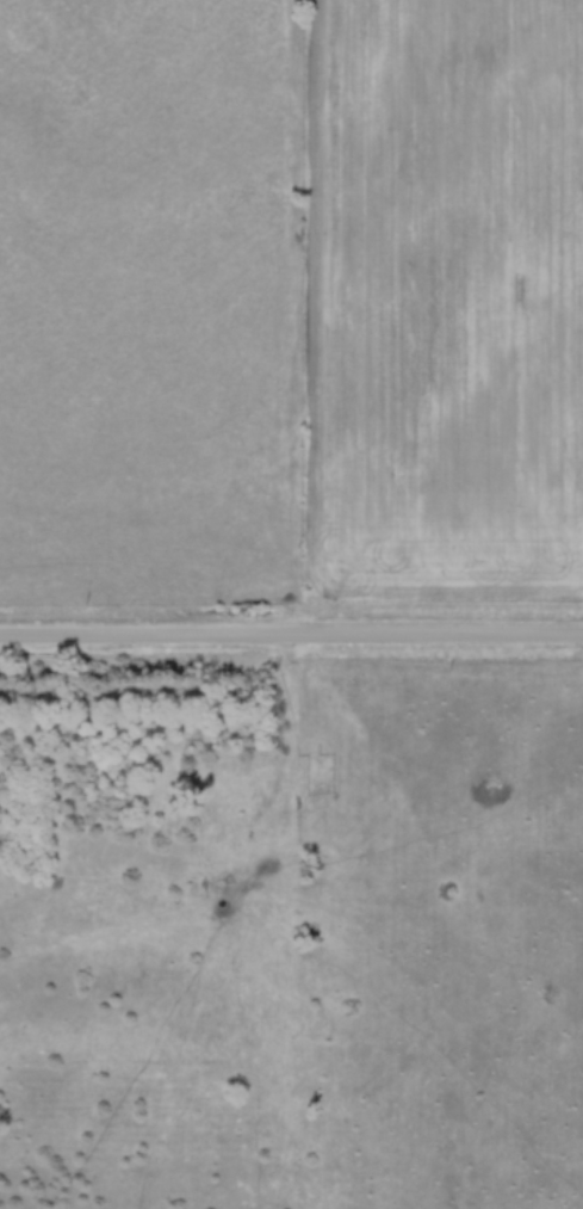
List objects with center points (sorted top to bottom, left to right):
road: (291, 643)

